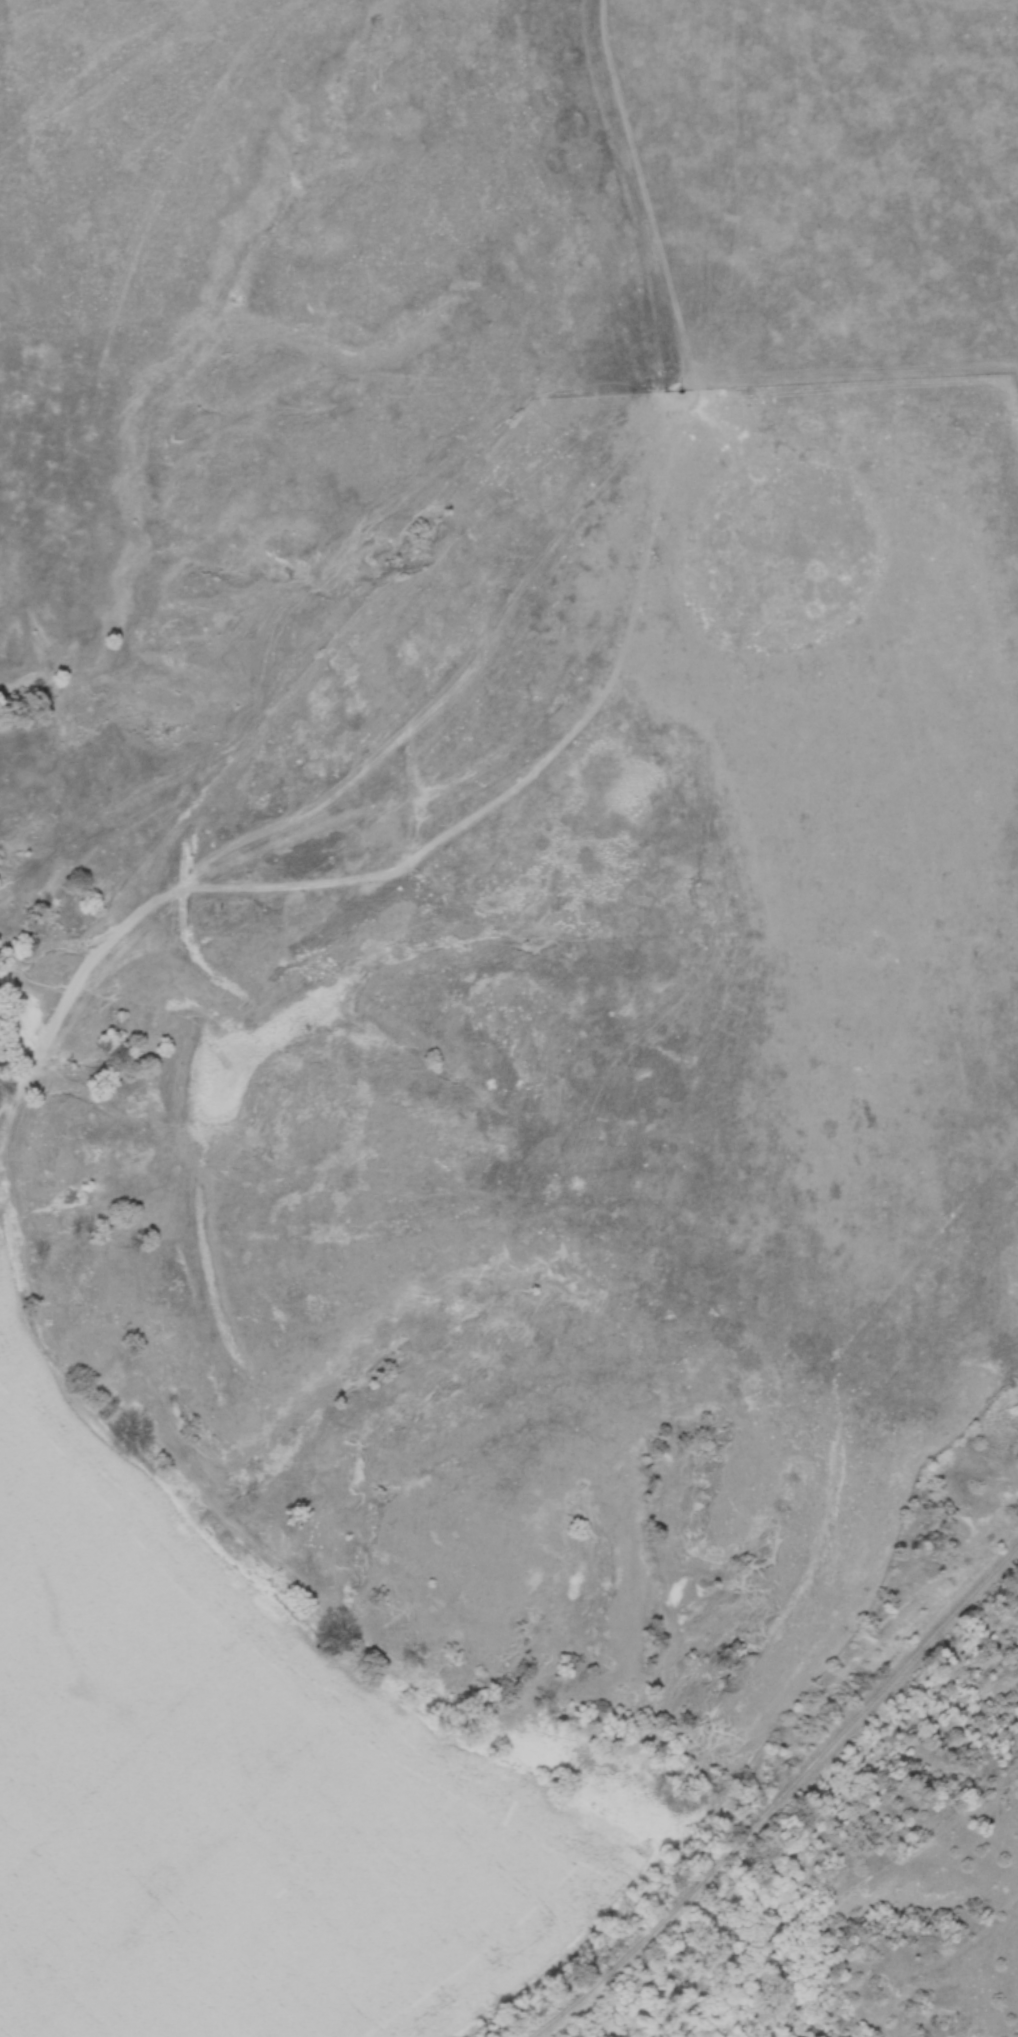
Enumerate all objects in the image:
railway: (776, 1792)

